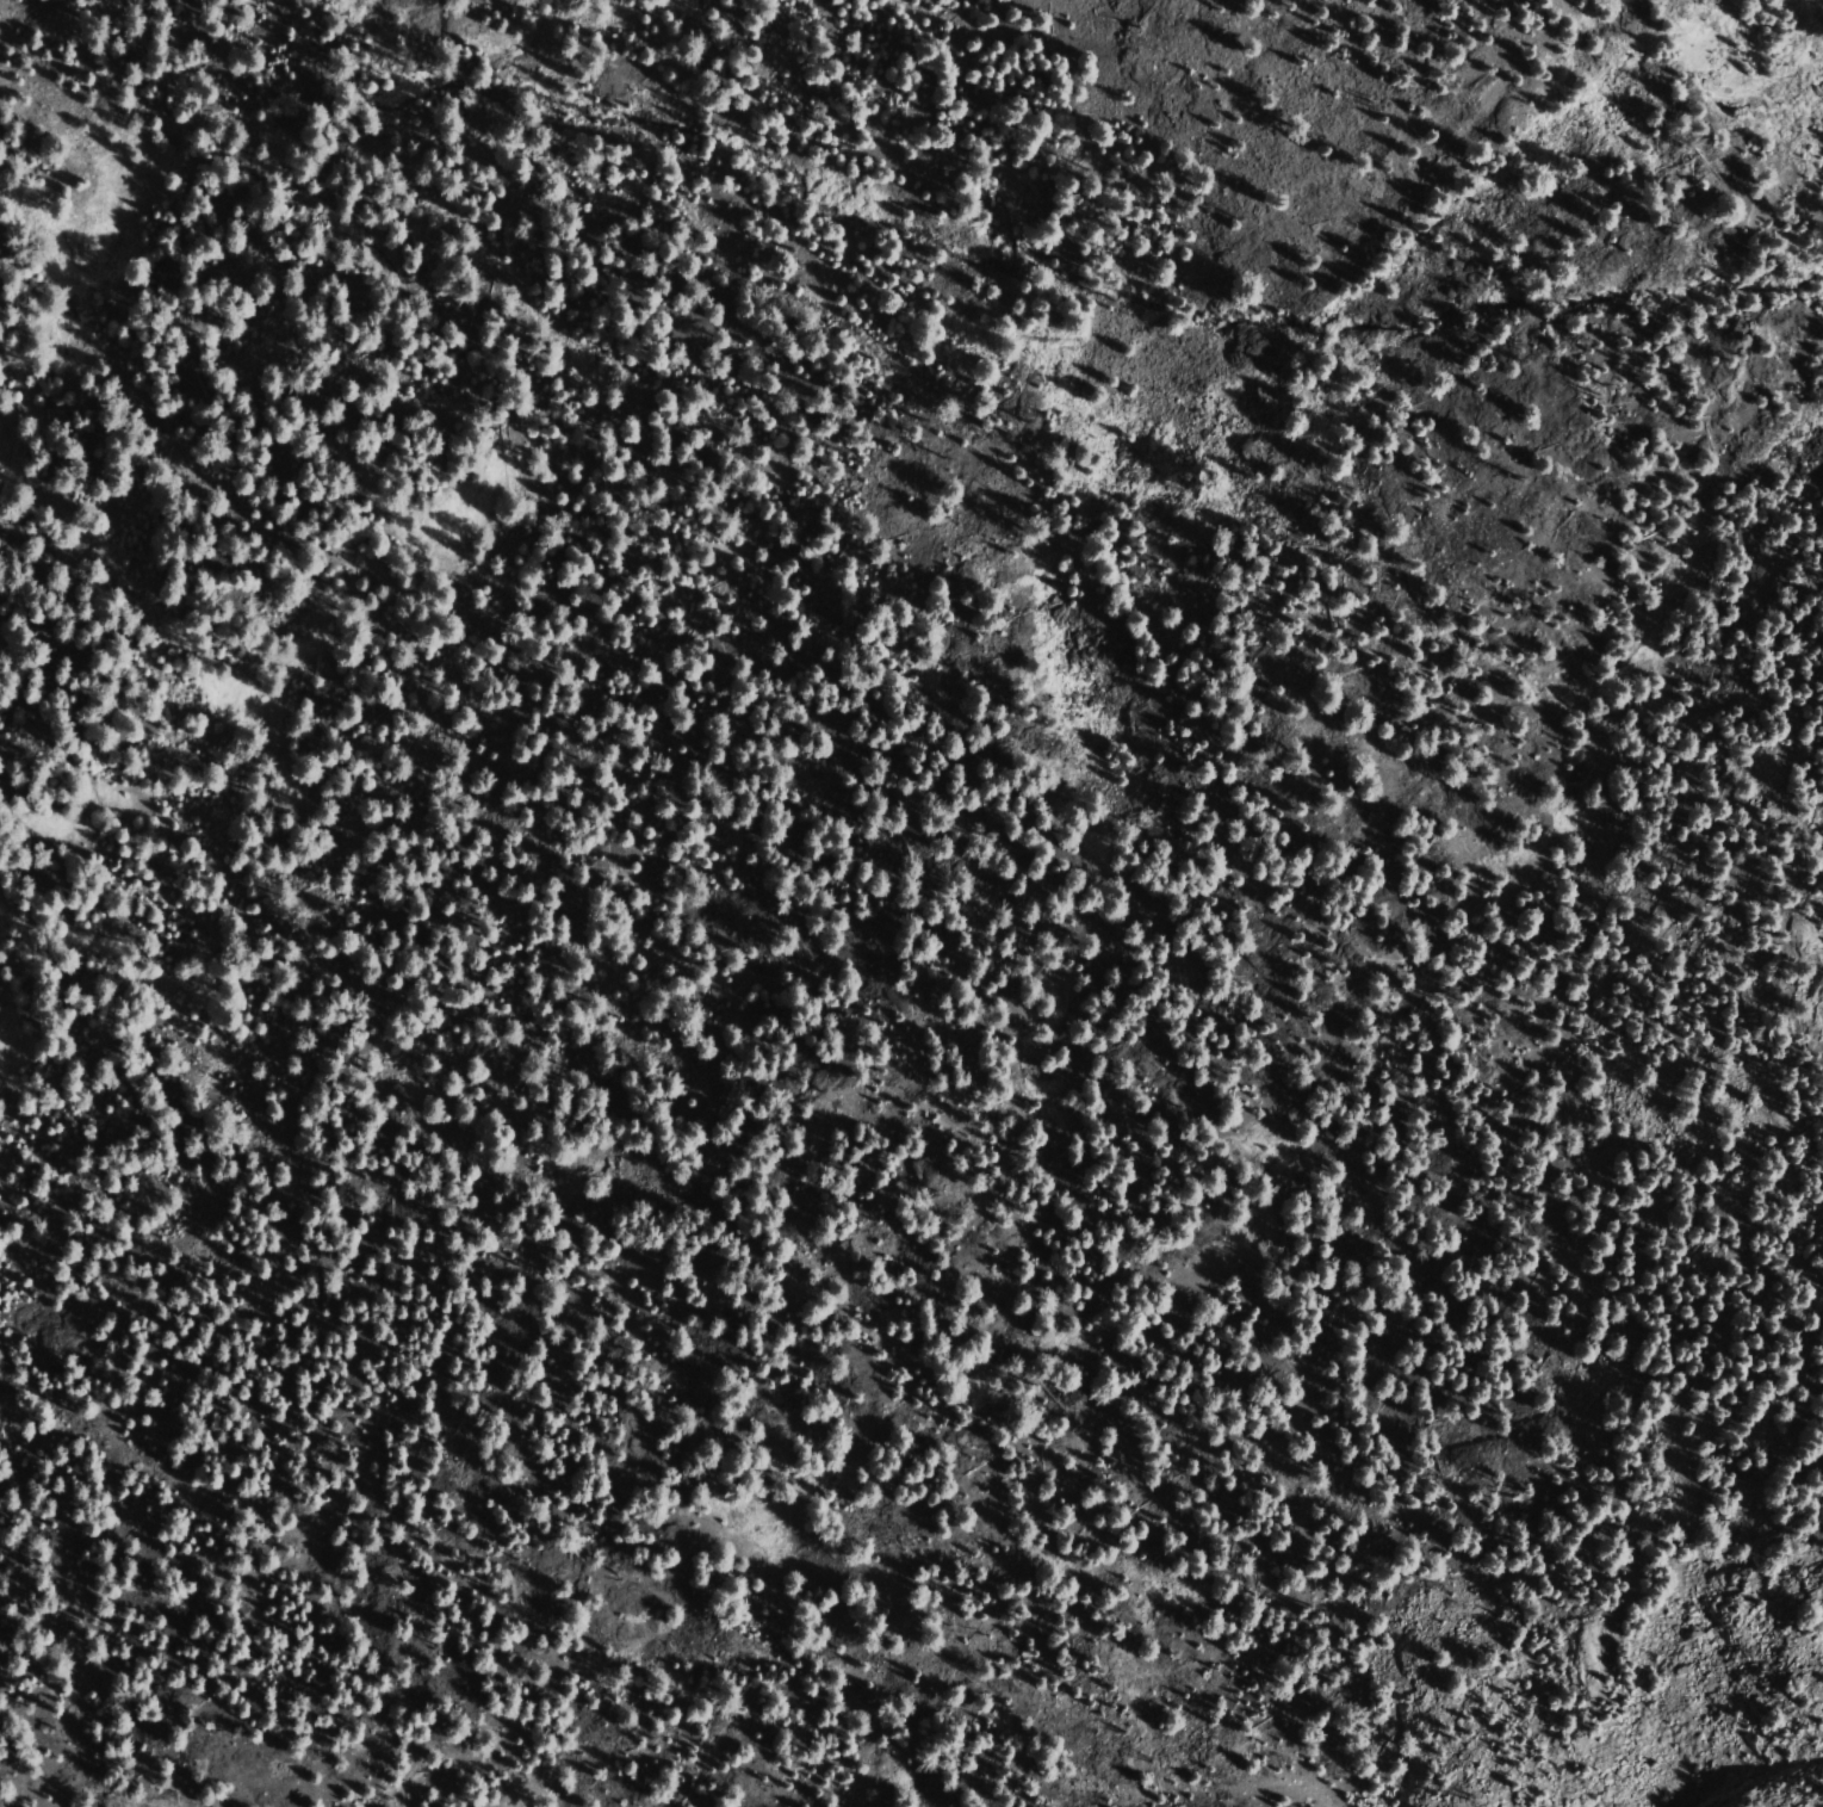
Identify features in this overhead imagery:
road: (51, 354)
road: (1348, 1089)

